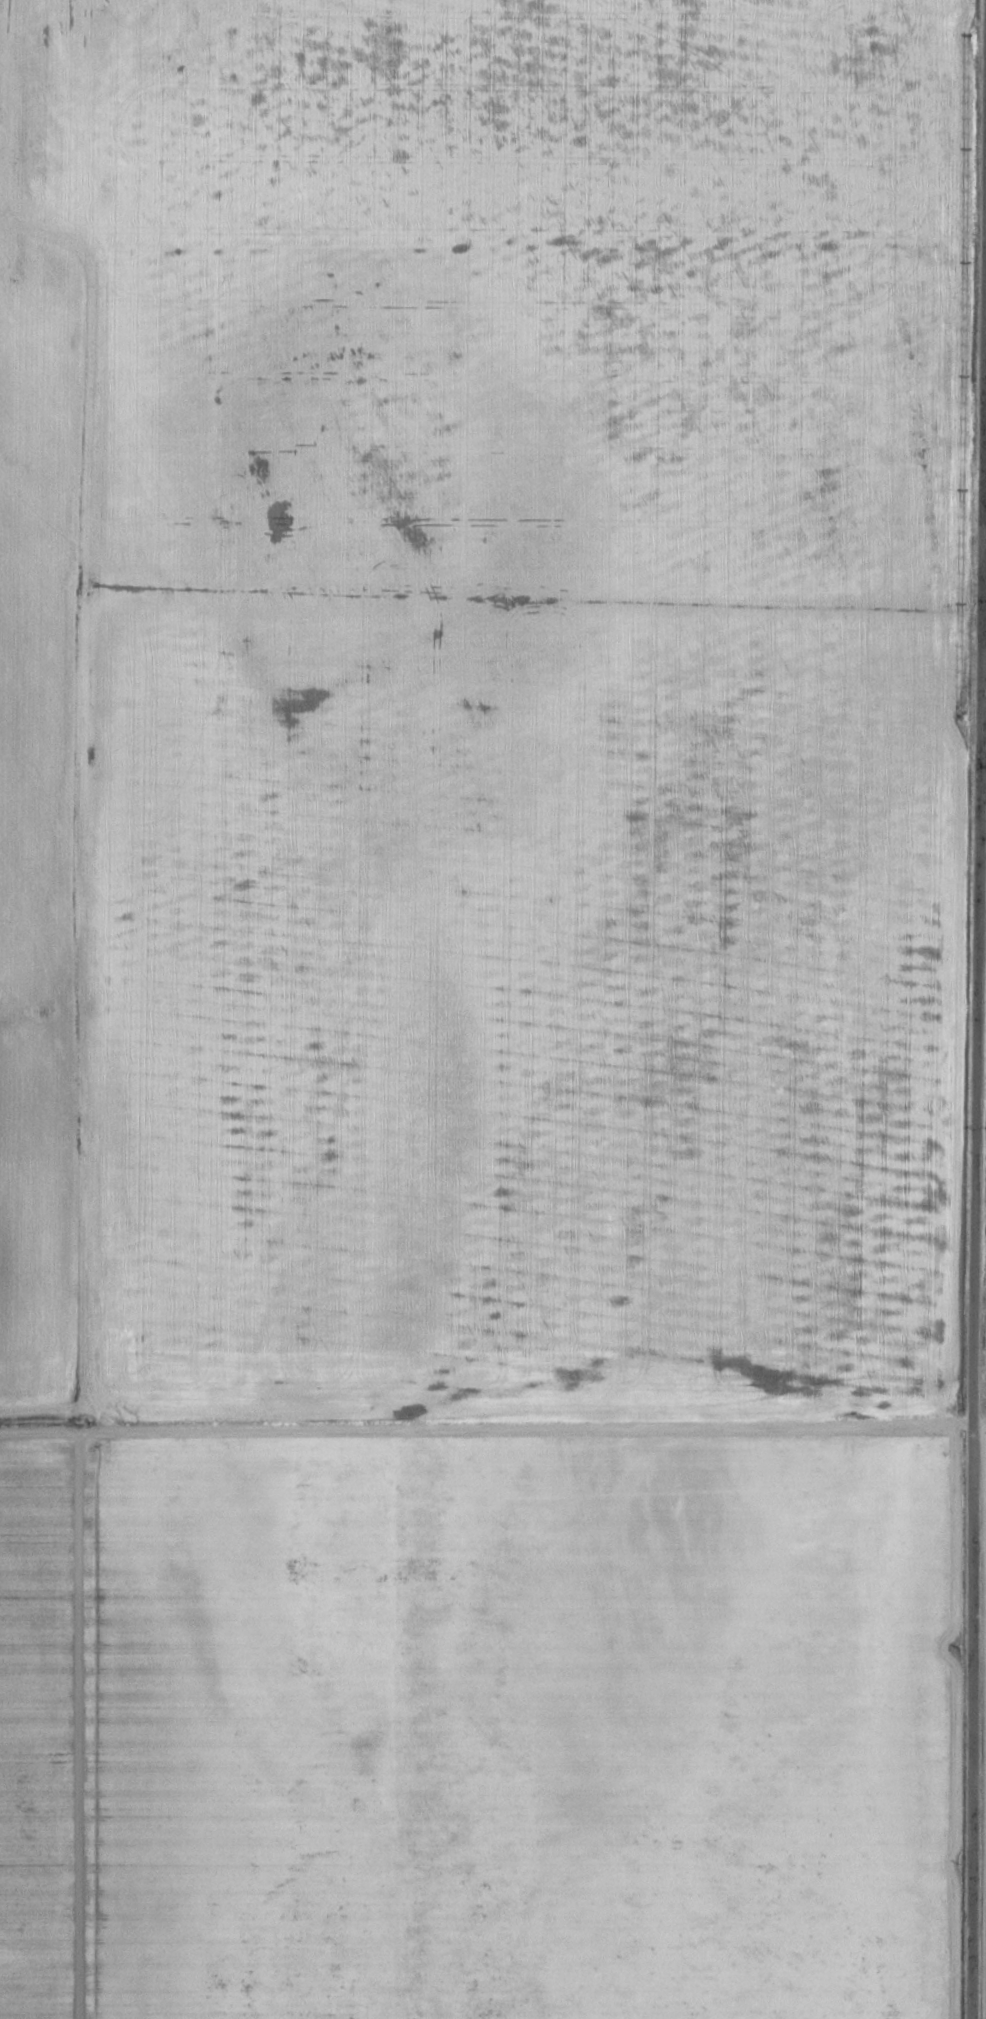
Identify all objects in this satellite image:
road: (974, 1047)

